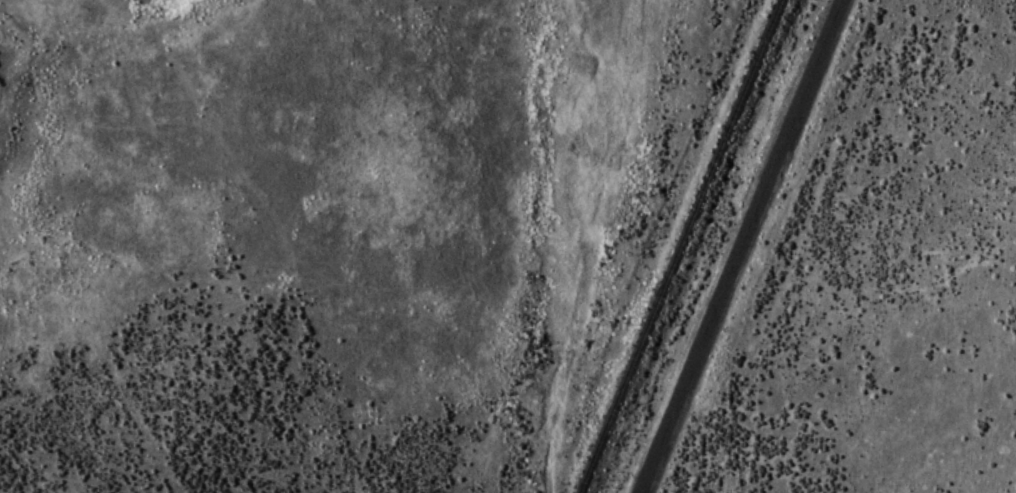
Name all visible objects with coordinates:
road: (739, 245)
railway: (680, 246)

